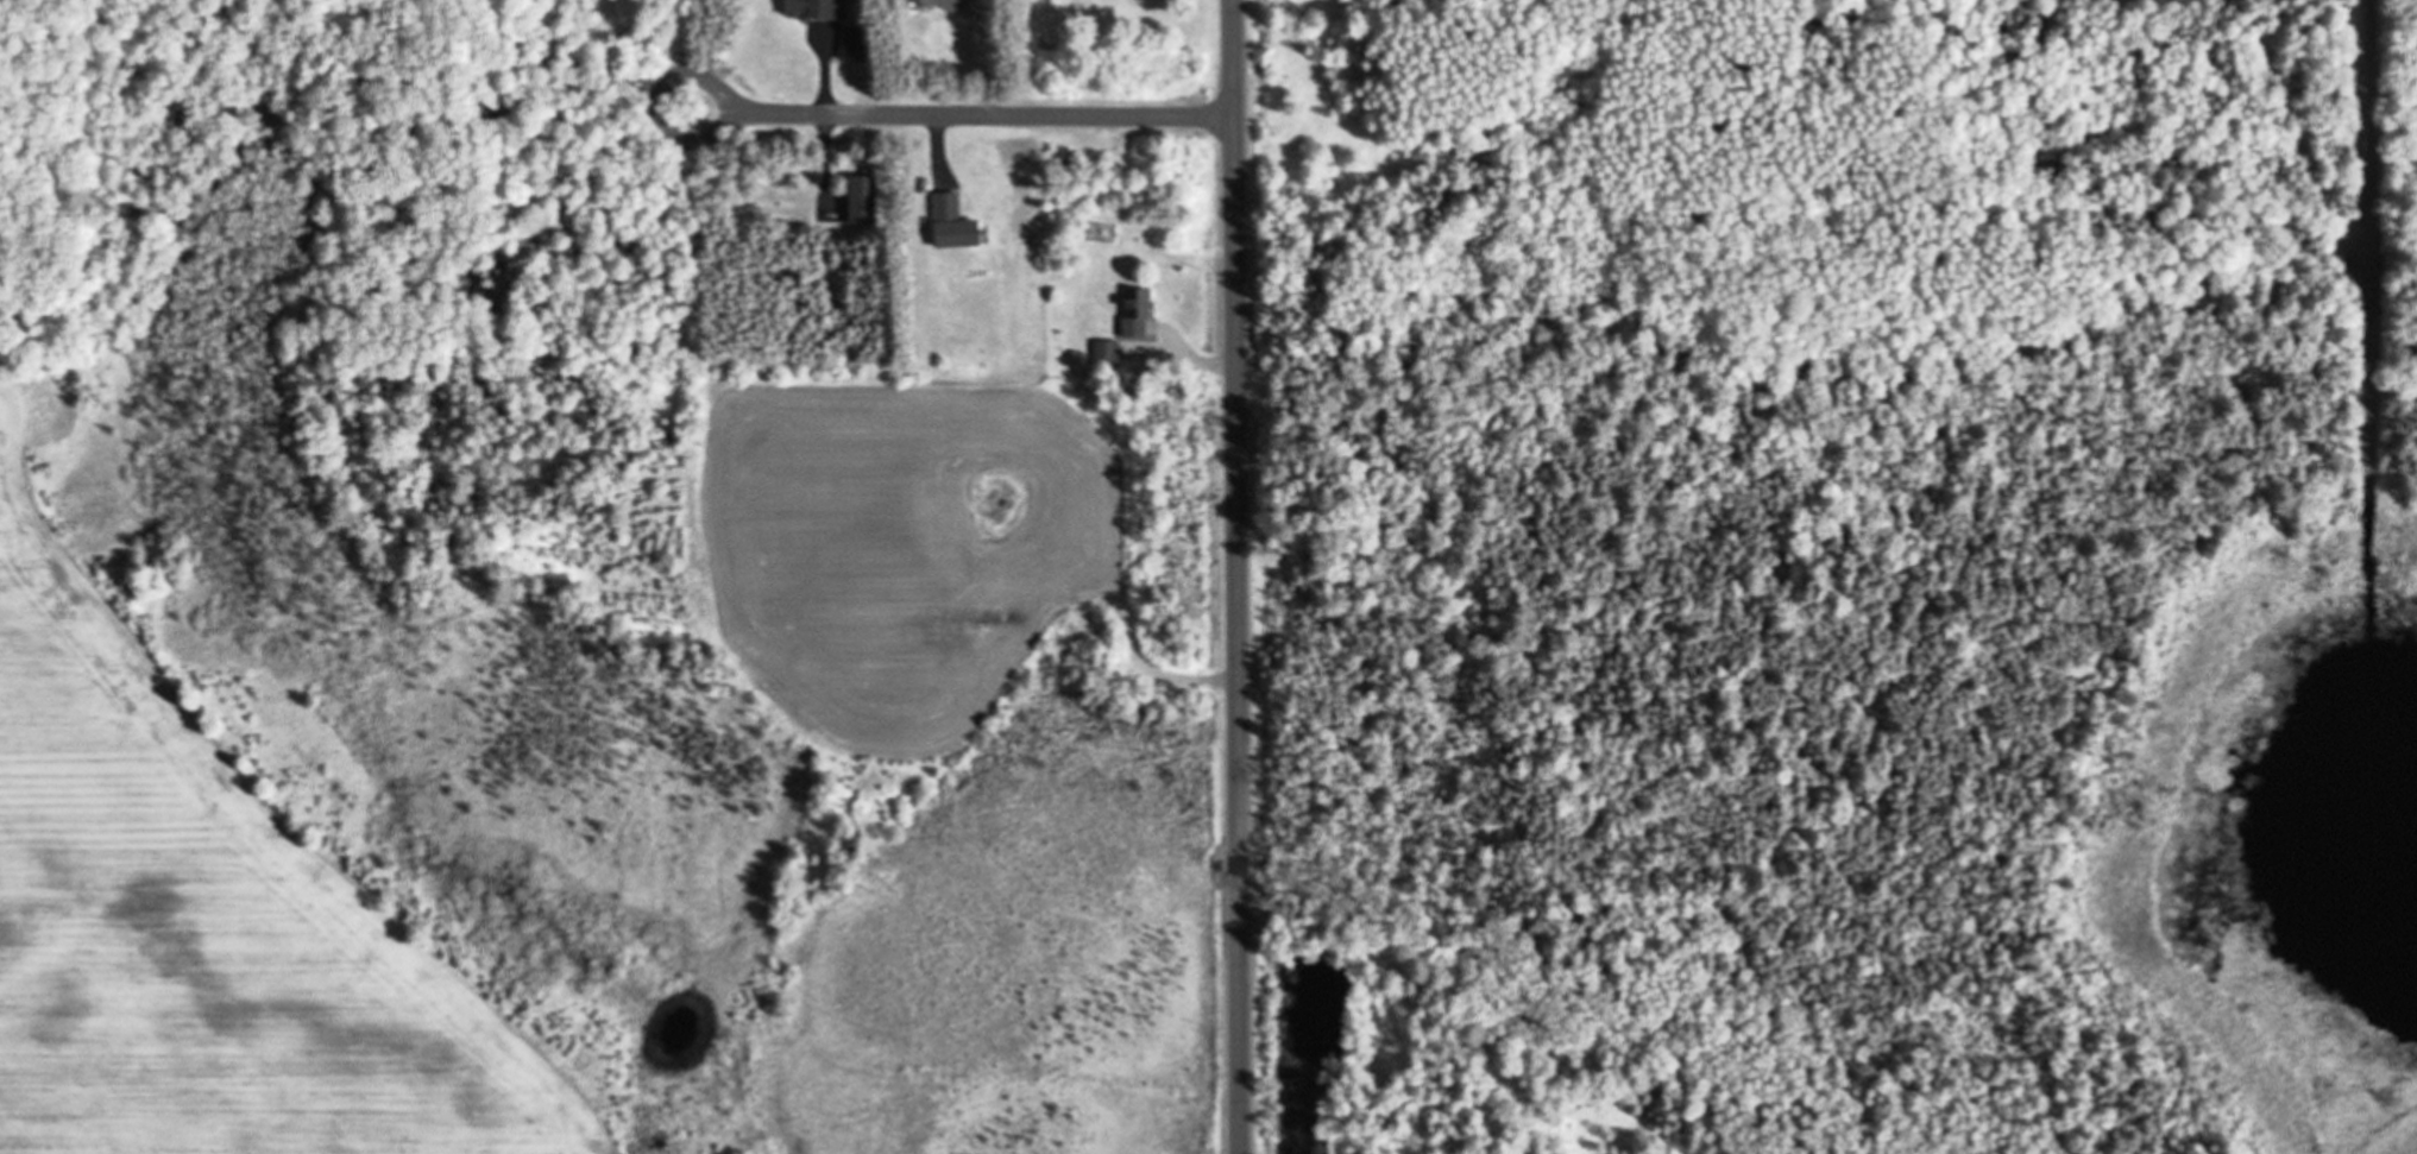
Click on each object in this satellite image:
building: (940, 5)
building: (812, 8)
building: (851, 44)
road: (949, 114)
building: (858, 200)
building: (949, 222)
road: (2375, 250)
building: (1133, 313)
road: (1238, 576)

